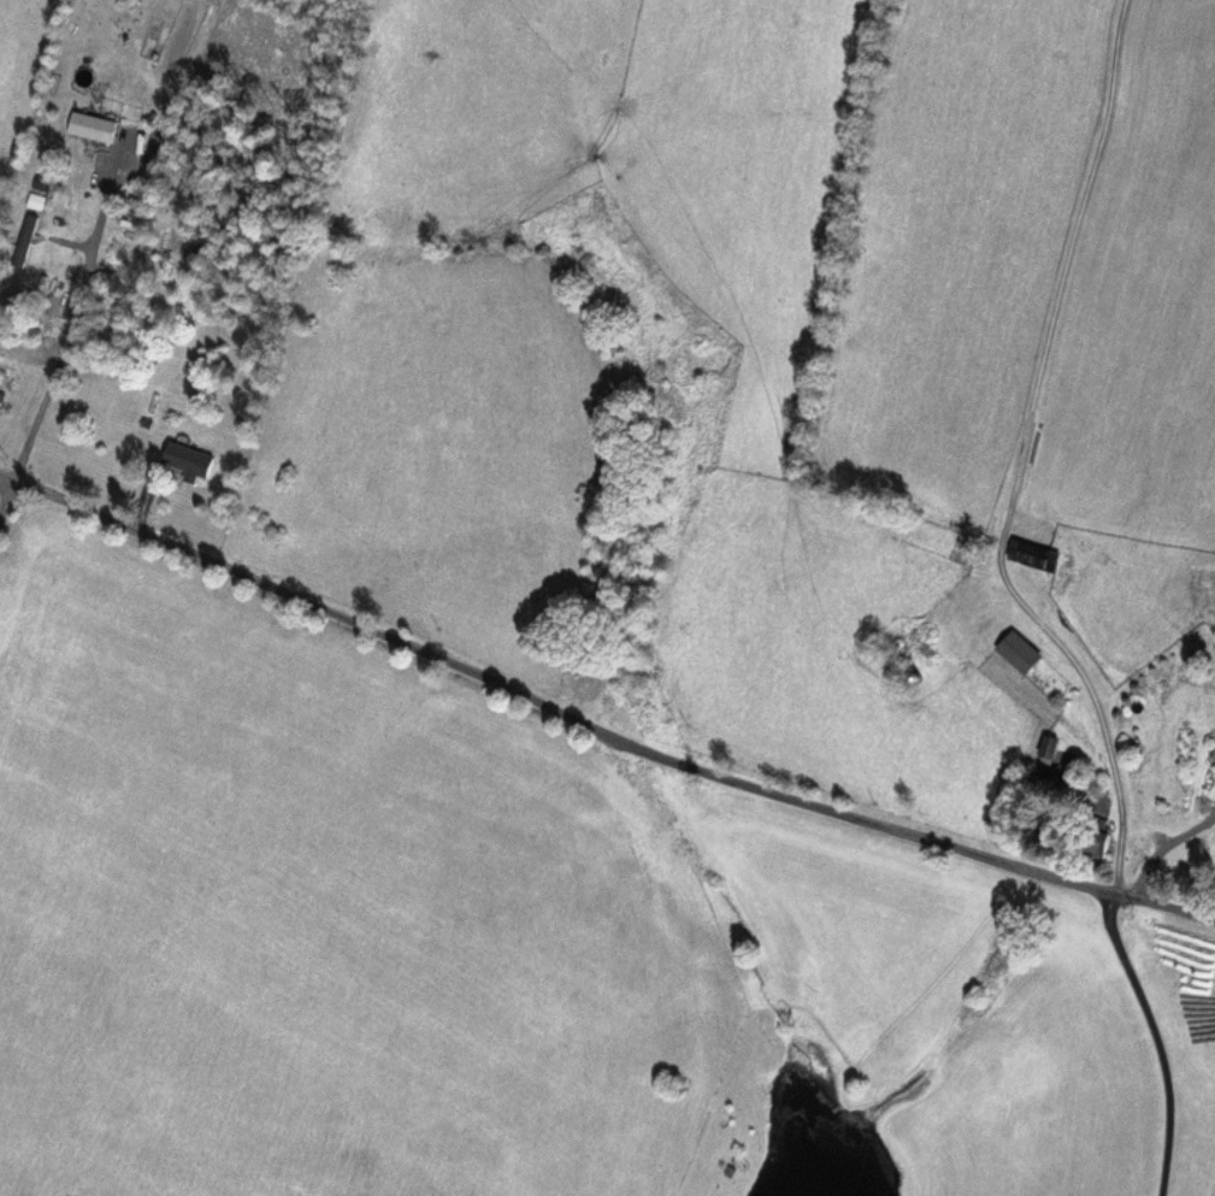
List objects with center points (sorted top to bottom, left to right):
building: (93, 129)
building: (25, 242)
road: (77, 314)
road: (1027, 456)
building: (188, 461)
road: (5, 497)
building: (1032, 556)
building: (1019, 653)
road: (596, 726)
building: (1093, 844)

